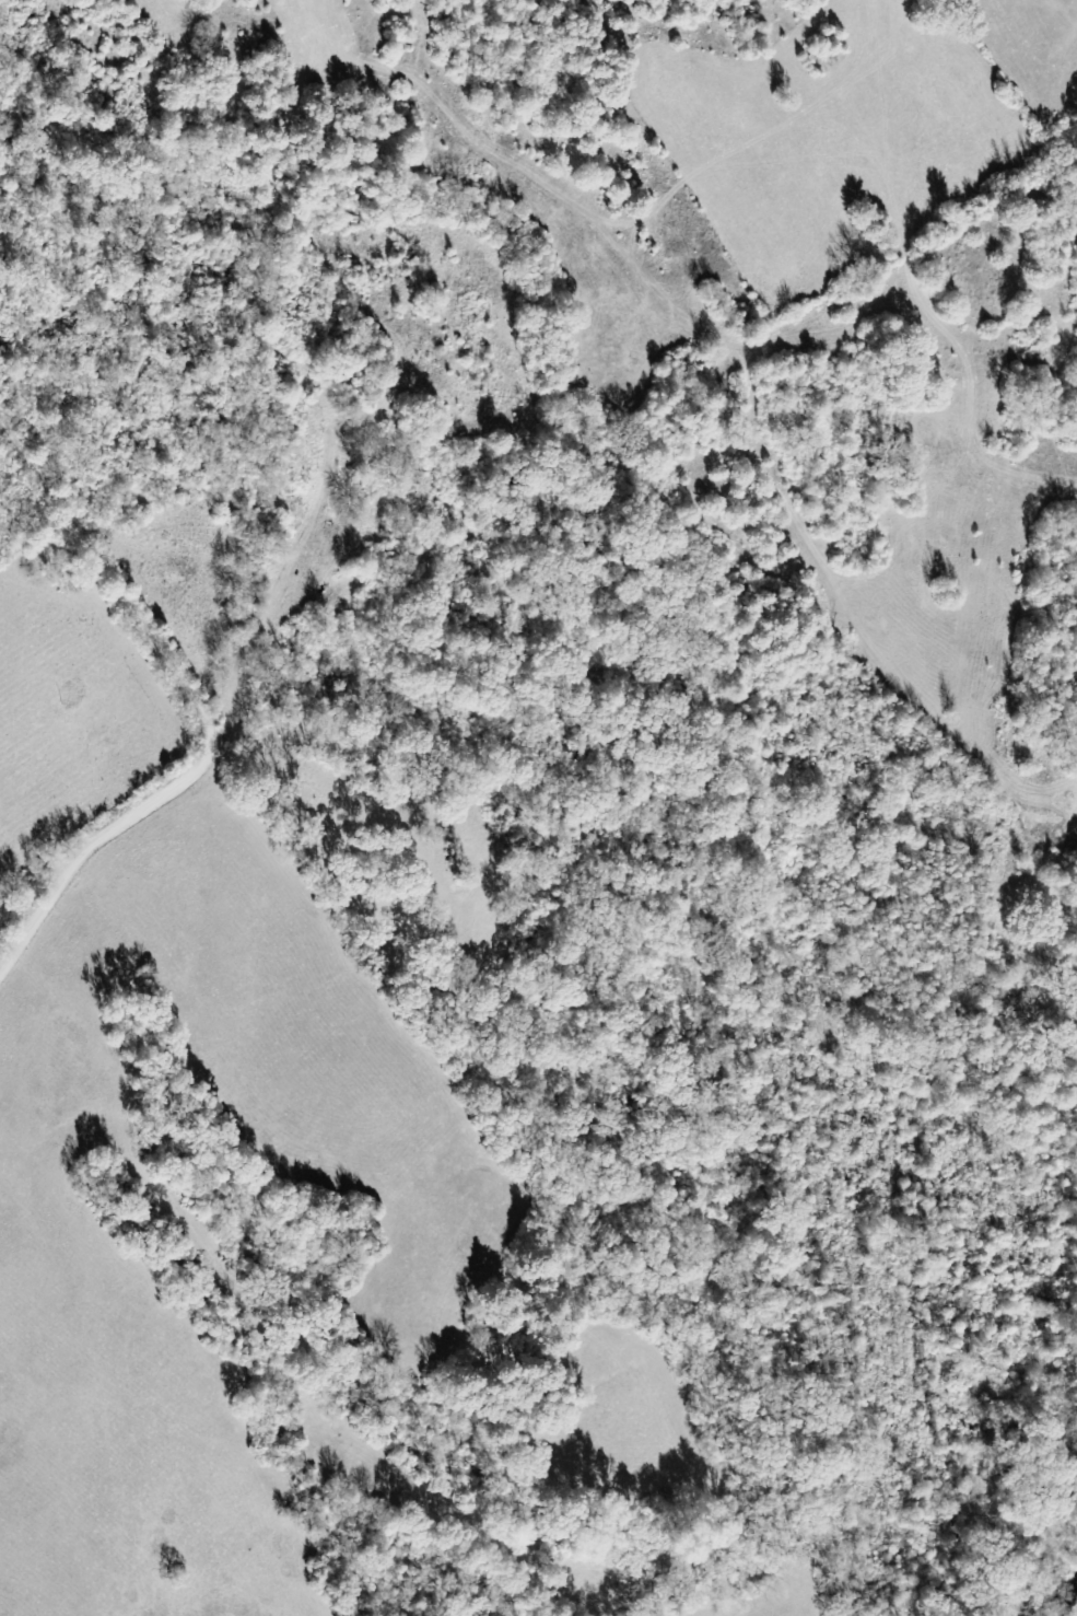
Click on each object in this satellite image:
road: (144, 730)
road: (163, 1416)

